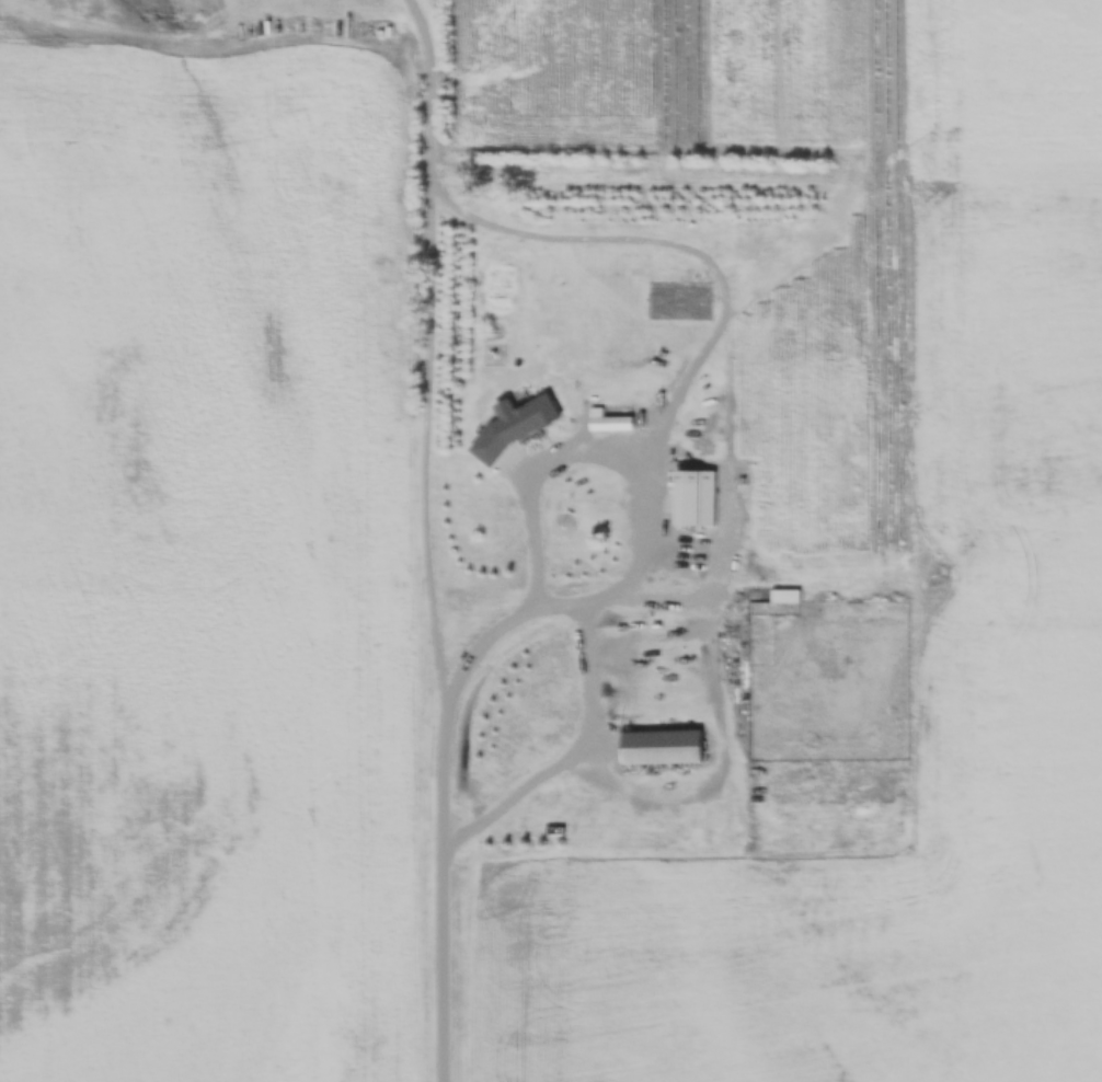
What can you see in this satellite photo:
building: (678, 301)
building: (610, 424)
building: (682, 504)
building: (564, 513)
building: (661, 748)

